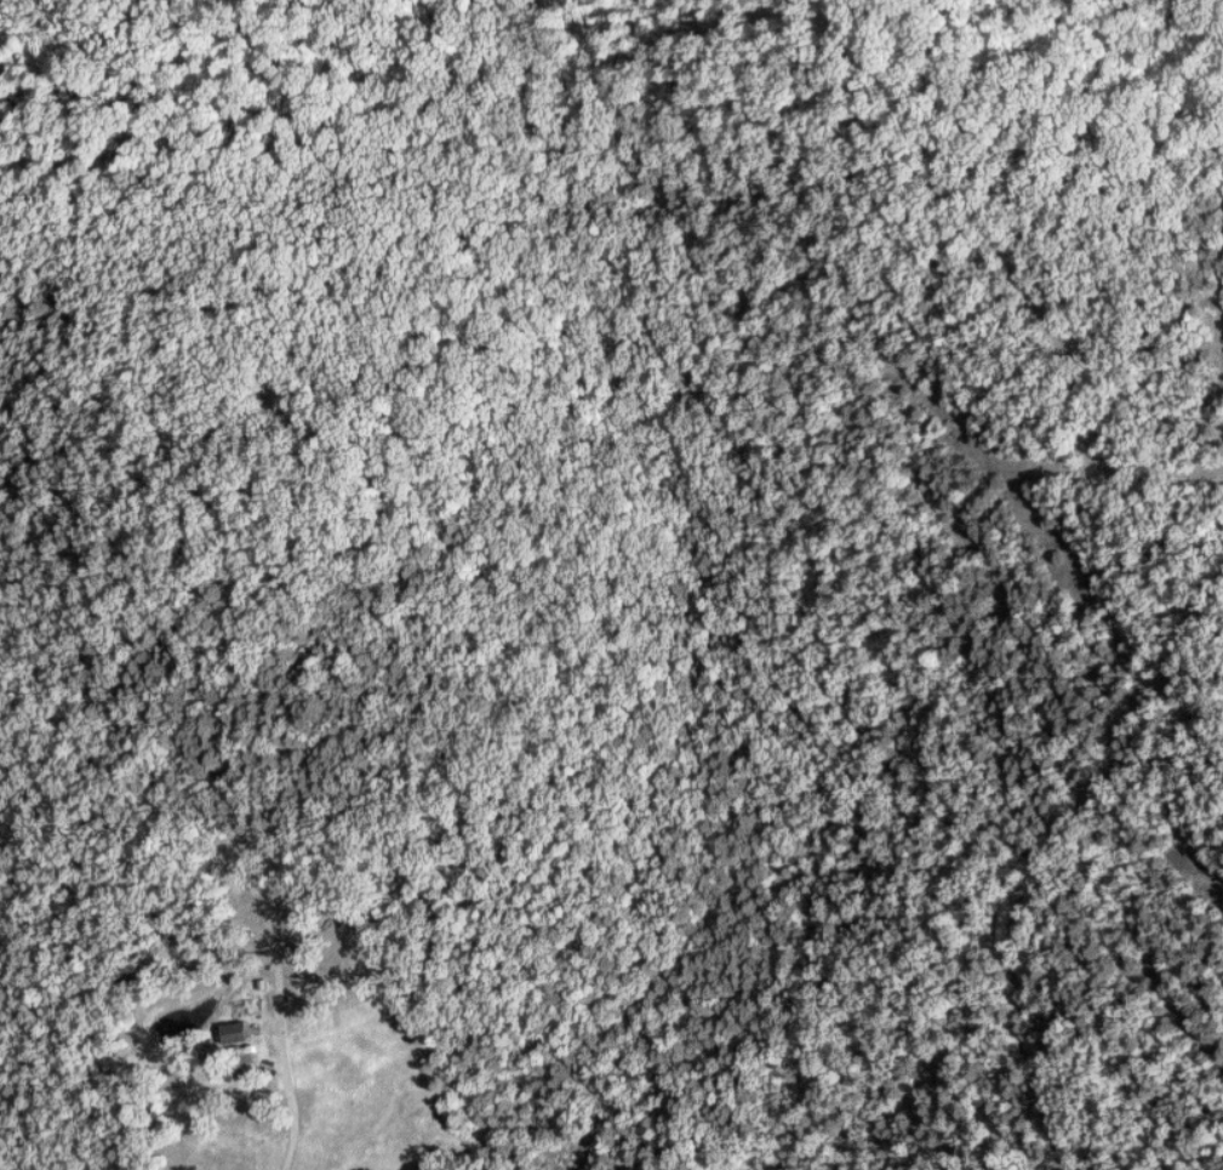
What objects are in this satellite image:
building: (246, 1031)
road: (299, 1100)

